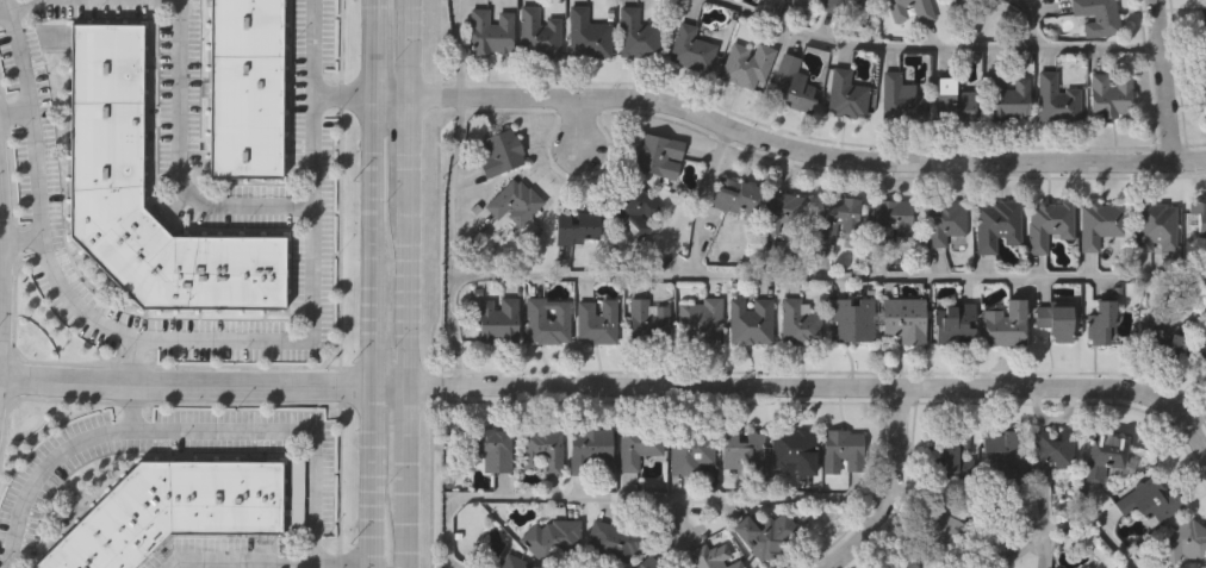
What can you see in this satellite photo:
building: (808, 0)
building: (964, 0)
building: (860, 4)
building: (834, 5)
building: (921, 12)
building: (1204, 14)
building: (1099, 17)
road: (1031, 24)
building: (490, 31)
building: (537, 35)
building: (586, 35)
building: (635, 35)
building: (1205, 36)
road: (459, 46)
building: (689, 48)
road: (375, 49)
road: (931, 49)
building: (747, 64)
road: (175, 81)
road: (1165, 81)
building: (794, 86)
building: (247, 87)
road: (341, 93)
building: (846, 95)
building: (1006, 96)
building: (900, 98)
building: (1113, 98)
building: (1053, 99)
building: (953, 102)
building: (1205, 104)
building: (107, 113)
road: (576, 121)
road: (787, 143)
building: (502, 151)
building: (658, 156)
road: (373, 177)
road: (37, 188)
building: (732, 195)
road: (697, 196)
building: (514, 199)
building: (632, 208)
building: (782, 212)
building: (839, 216)
building: (1202, 219)
building: (891, 223)
building: (945, 223)
building: (1048, 224)
building: (1100, 224)
building: (1000, 226)
building: (577, 227)
building: (1156, 230)
road: (449, 239)
road: (1, 271)
road: (311, 279)
road: (827, 279)
road: (337, 283)
road: (403, 283)
building: (497, 318)
building: (596, 319)
road: (369, 320)
building: (547, 320)
building: (648, 322)
building: (701, 322)
building: (751, 322)
building: (852, 322)
building: (906, 322)
building: (956, 323)
building: (1057, 324)
building: (801, 325)
building: (1006, 325)
building: (1102, 325)
building: (1205, 332)
building: (1162, 336)
building: (1201, 354)
road: (184, 383)
road: (801, 386)
road: (132, 407)
road: (184, 431)
building: (638, 443)
building: (492, 448)
building: (590, 448)
building: (792, 448)
building: (843, 448)
building: (542, 449)
building: (691, 449)
building: (741, 450)
building: (951, 452)
building: (1052, 454)
building: (1102, 454)
building: (1005, 456)
road: (367, 473)
road: (889, 488)
building: (1146, 499)
road: (633, 501)
road: (969, 505)
building: (172, 508)
building: (946, 531)
building: (767, 532)
road: (1094, 533)
road: (670, 535)
building: (552, 536)
building: (1185, 539)
building: (613, 541)
road: (1024, 549)
building: (711, 557)
building: (508, 562)
building: (647, 562)
road: (268, 563)
building: (907, 563)
road: (366, 566)

